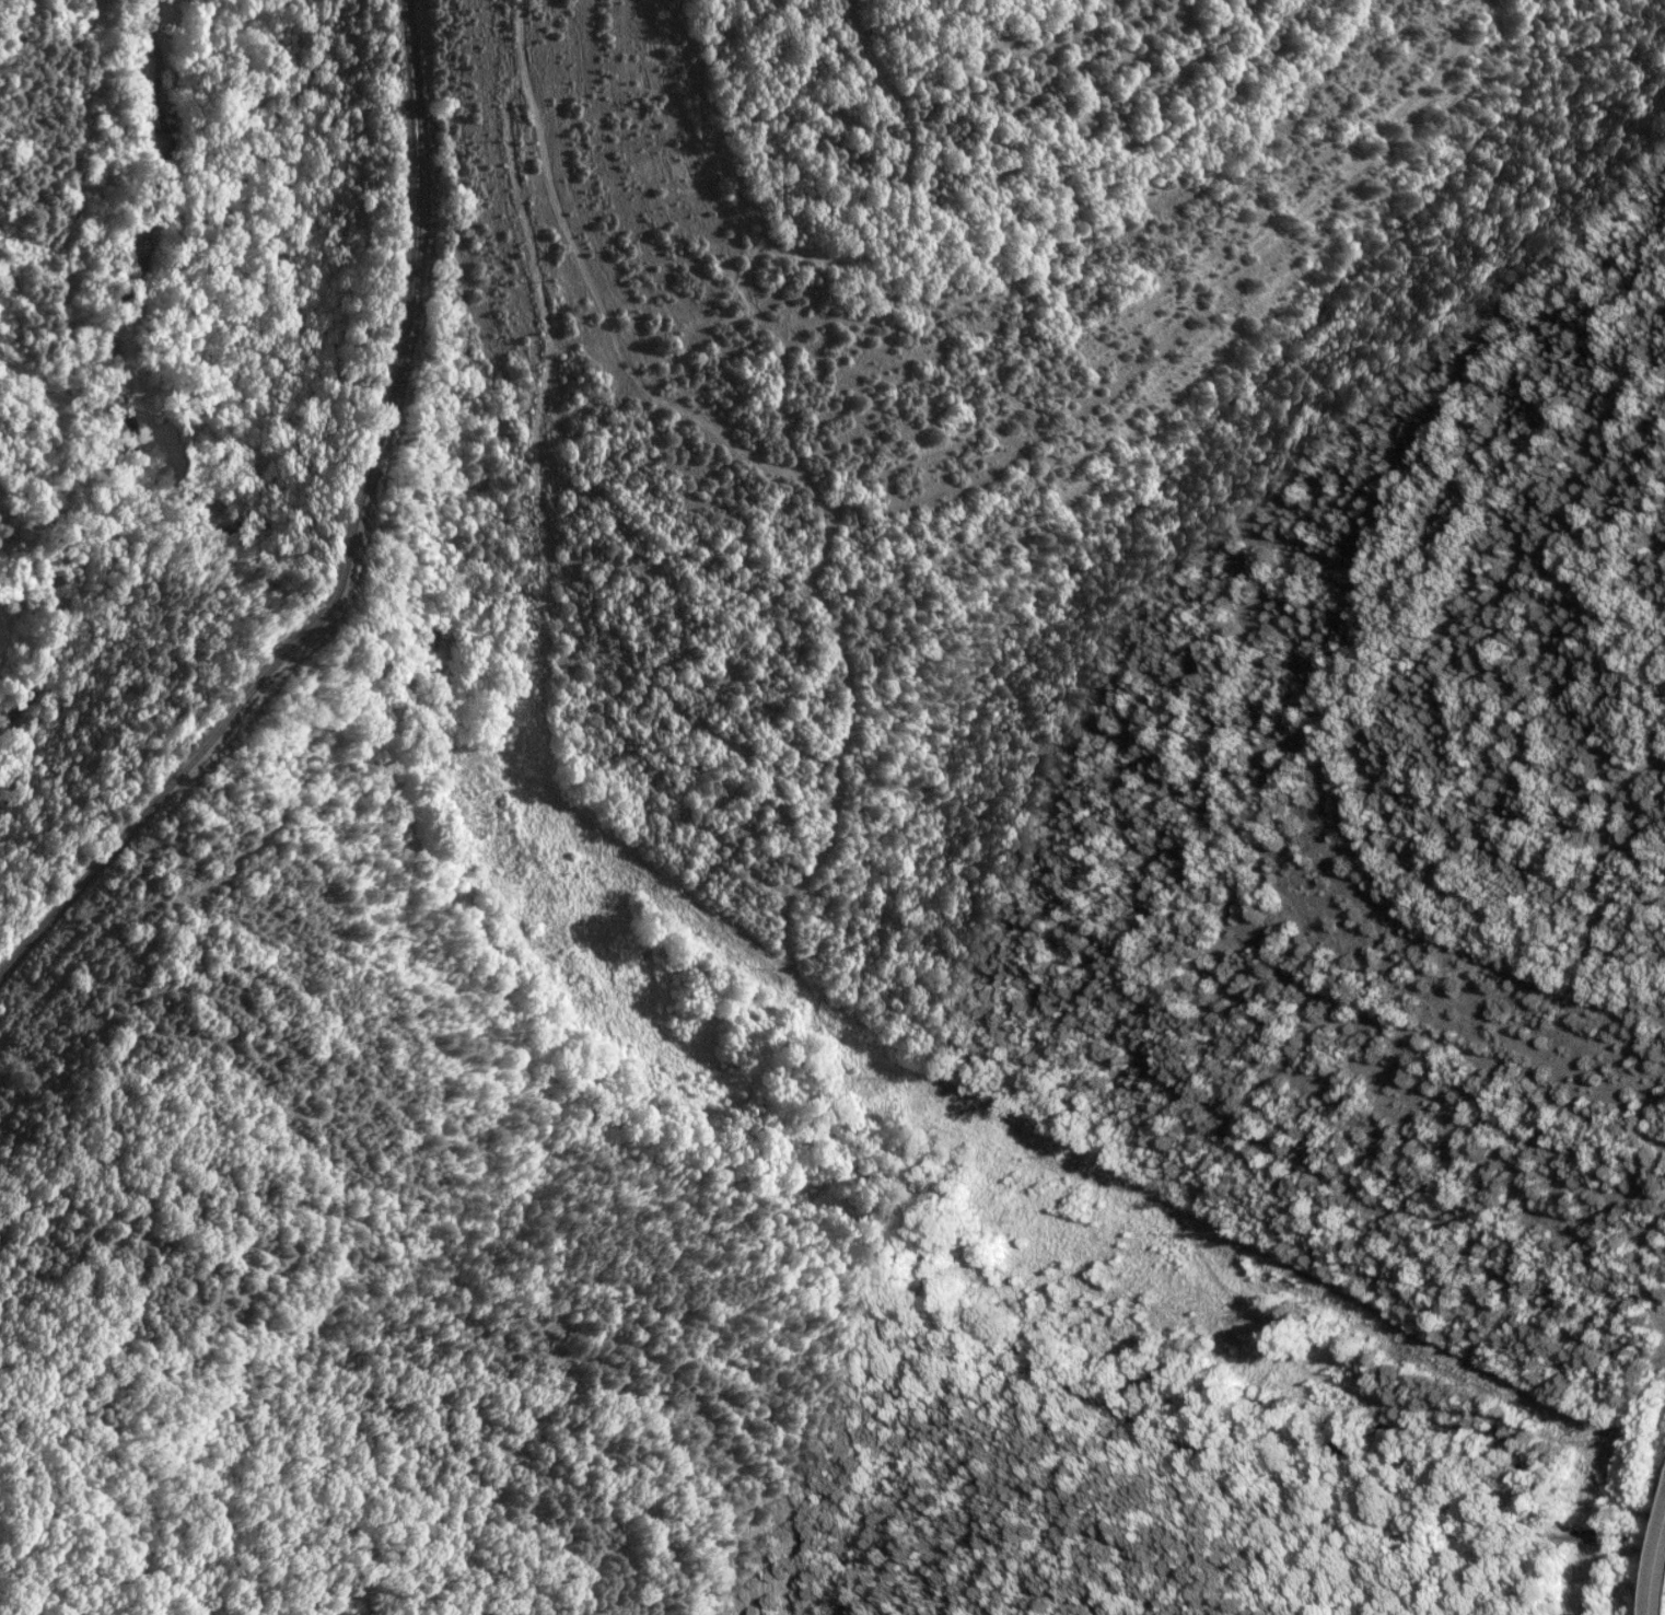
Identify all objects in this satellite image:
railway: (340, 541)

